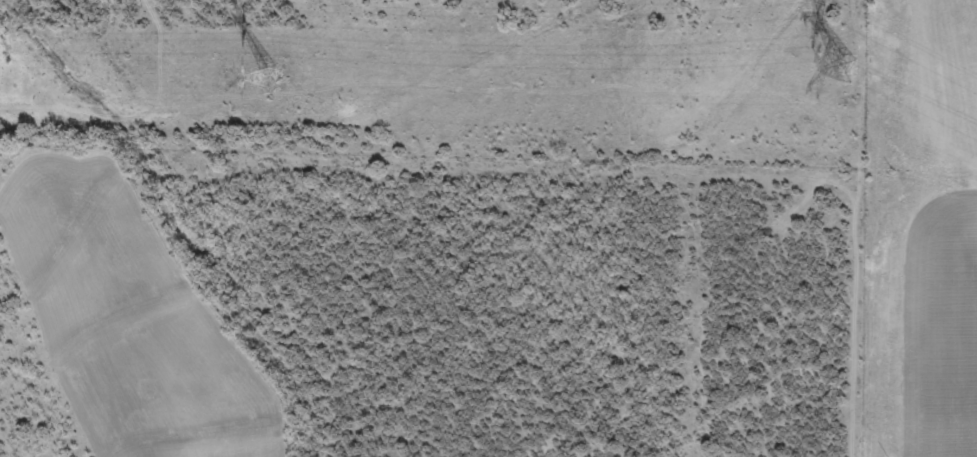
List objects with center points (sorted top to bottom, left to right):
power tower: (843, 67)
power tower: (268, 77)

